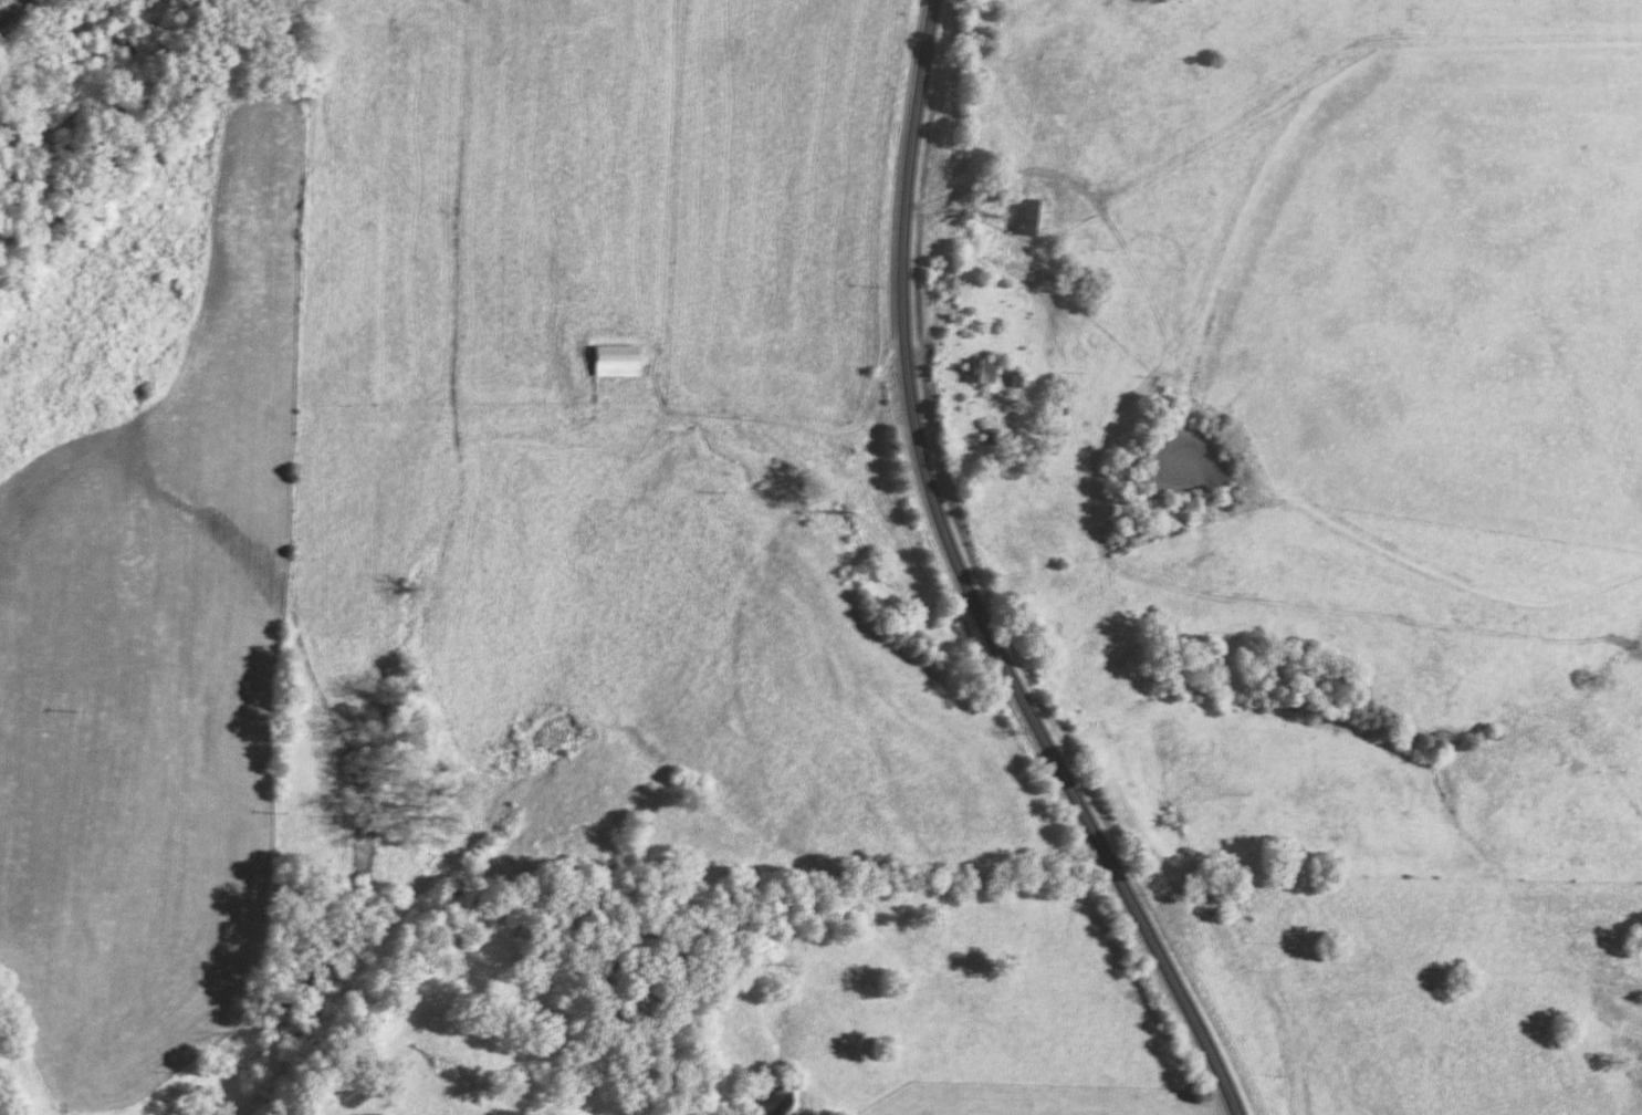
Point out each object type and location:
building: (1028, 221)
building: (944, 279)
building: (609, 363)
building: (979, 374)
road: (968, 584)

